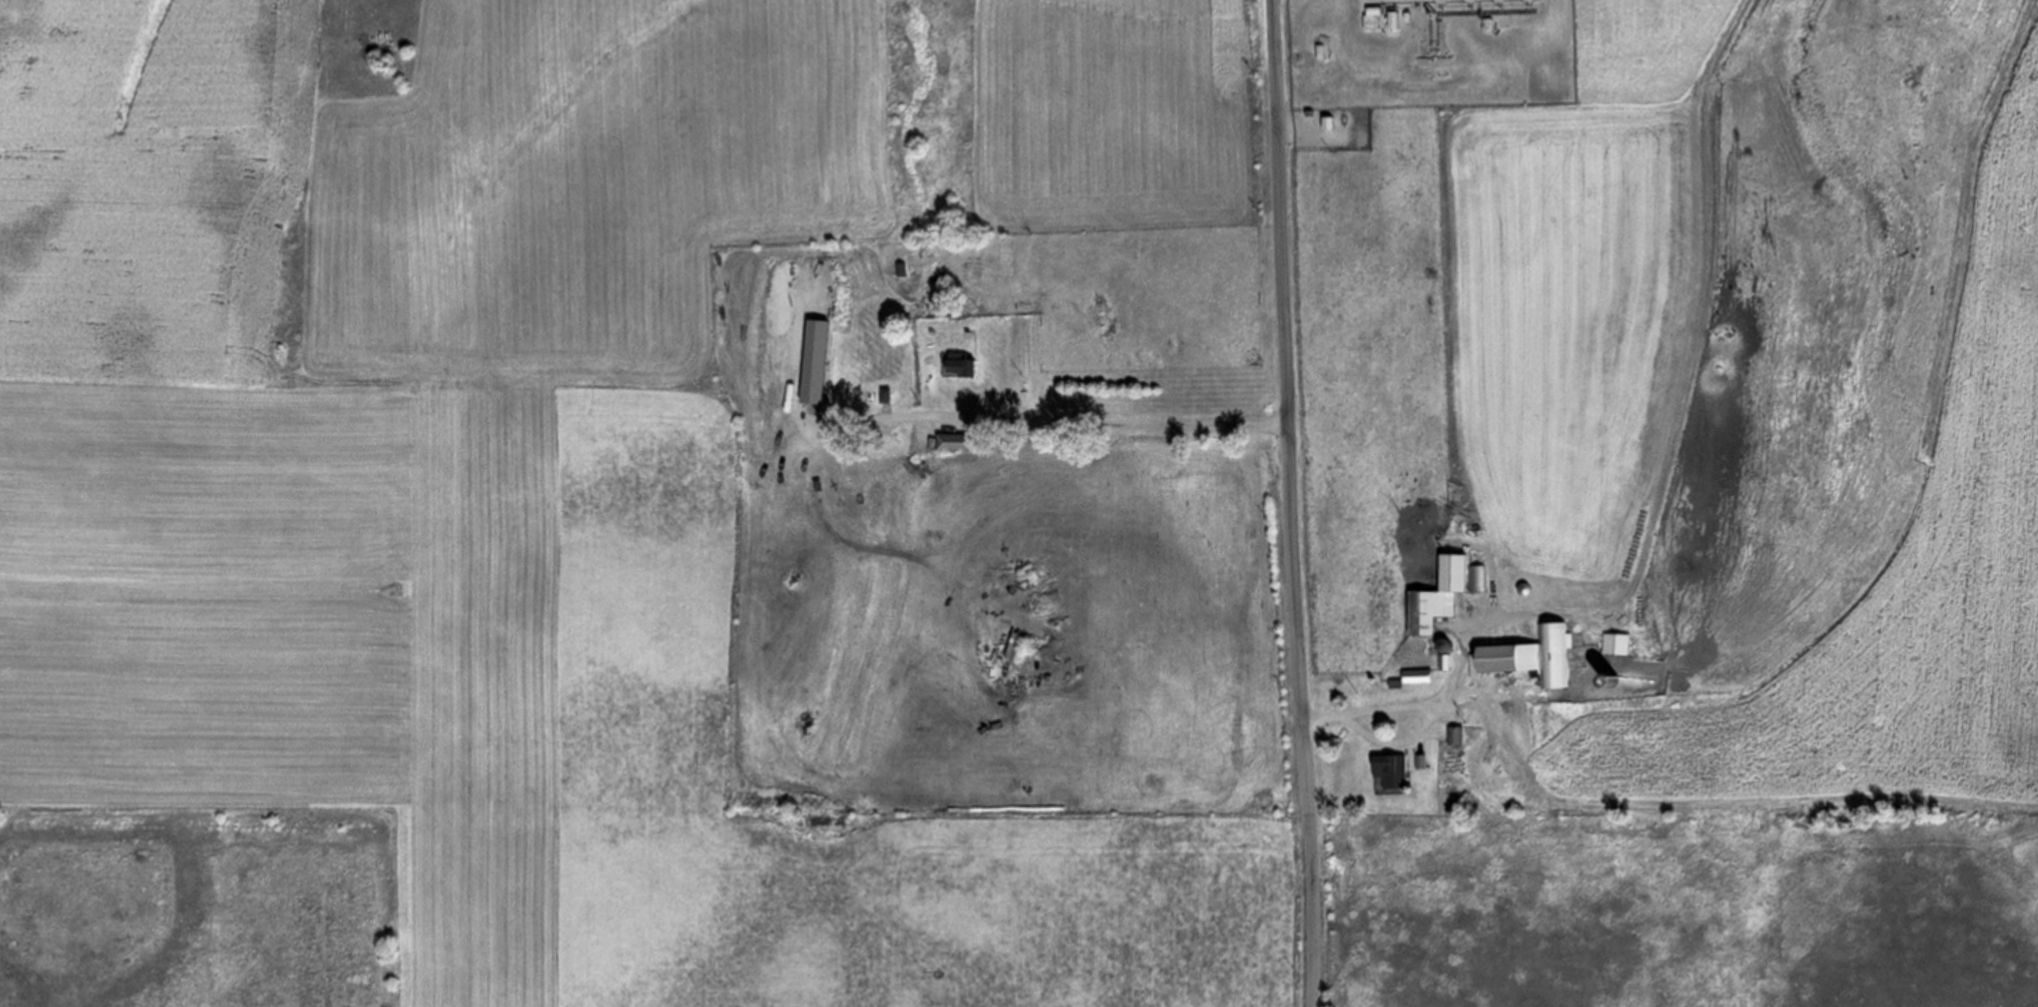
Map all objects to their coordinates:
building: (1529, 0)
building: (1440, 1)
building: (1470, 1)
road: (1694, 331)
building: (963, 365)
building: (886, 396)
building: (822, 412)
road: (1027, 418)
road: (1919, 419)
building: (951, 443)
road: (1293, 503)
building: (1476, 578)
building: (1436, 597)
building: (1616, 644)
building: (1019, 648)
building: (1533, 658)
building: (1442, 663)
building: (1417, 676)
building: (1394, 684)
road: (1449, 685)
road: (1418, 733)
building: (1455, 736)
building: (1420, 762)
building: (1390, 771)

